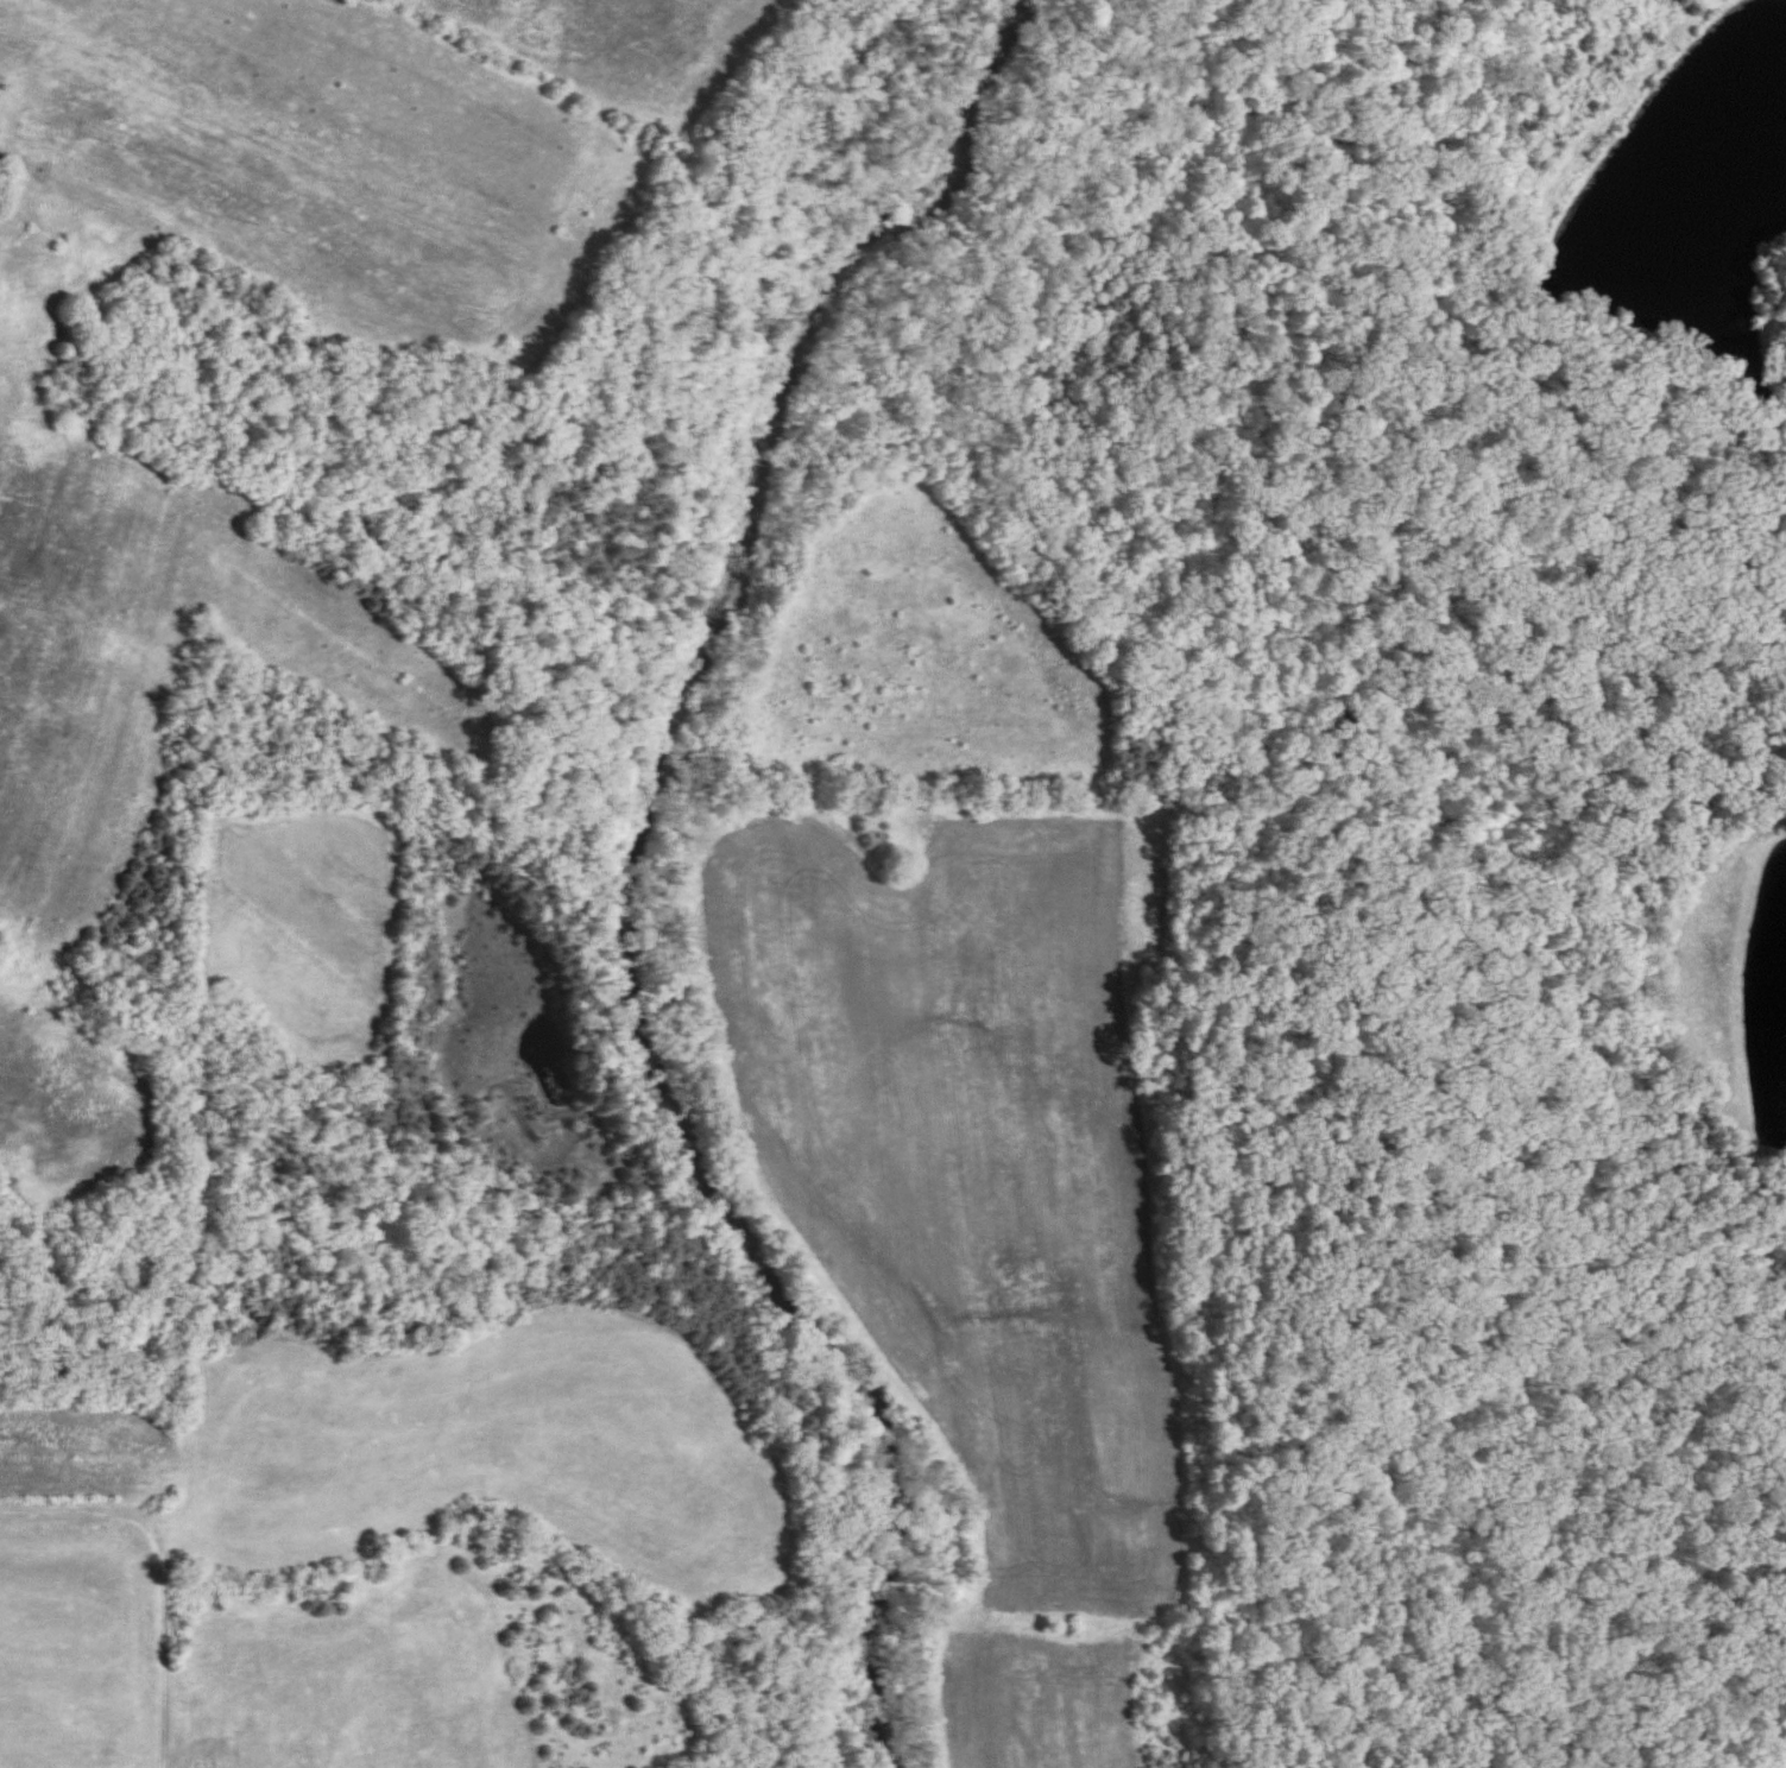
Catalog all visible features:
building: (0, 96)
river: (643, 864)
road: (164, 1568)
building: (207, 1763)

